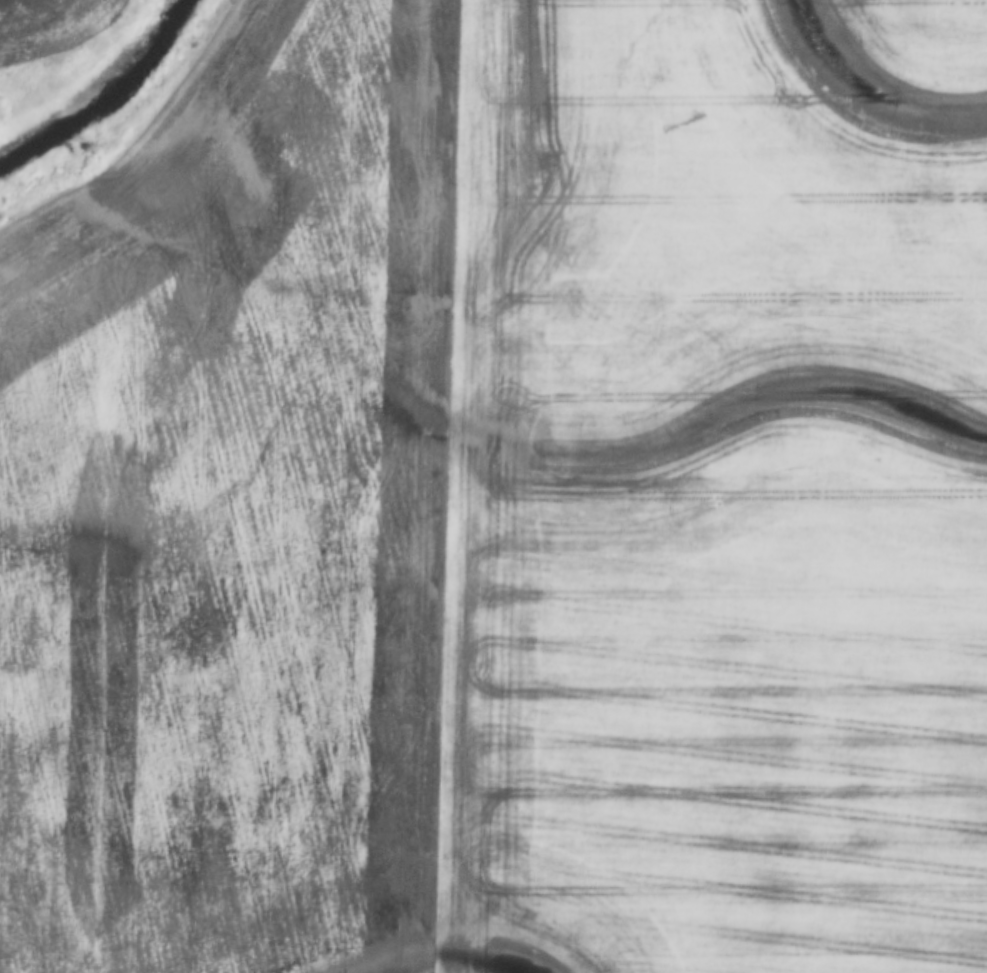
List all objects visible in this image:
crop: (50, 25)
crop: (507, 500)

